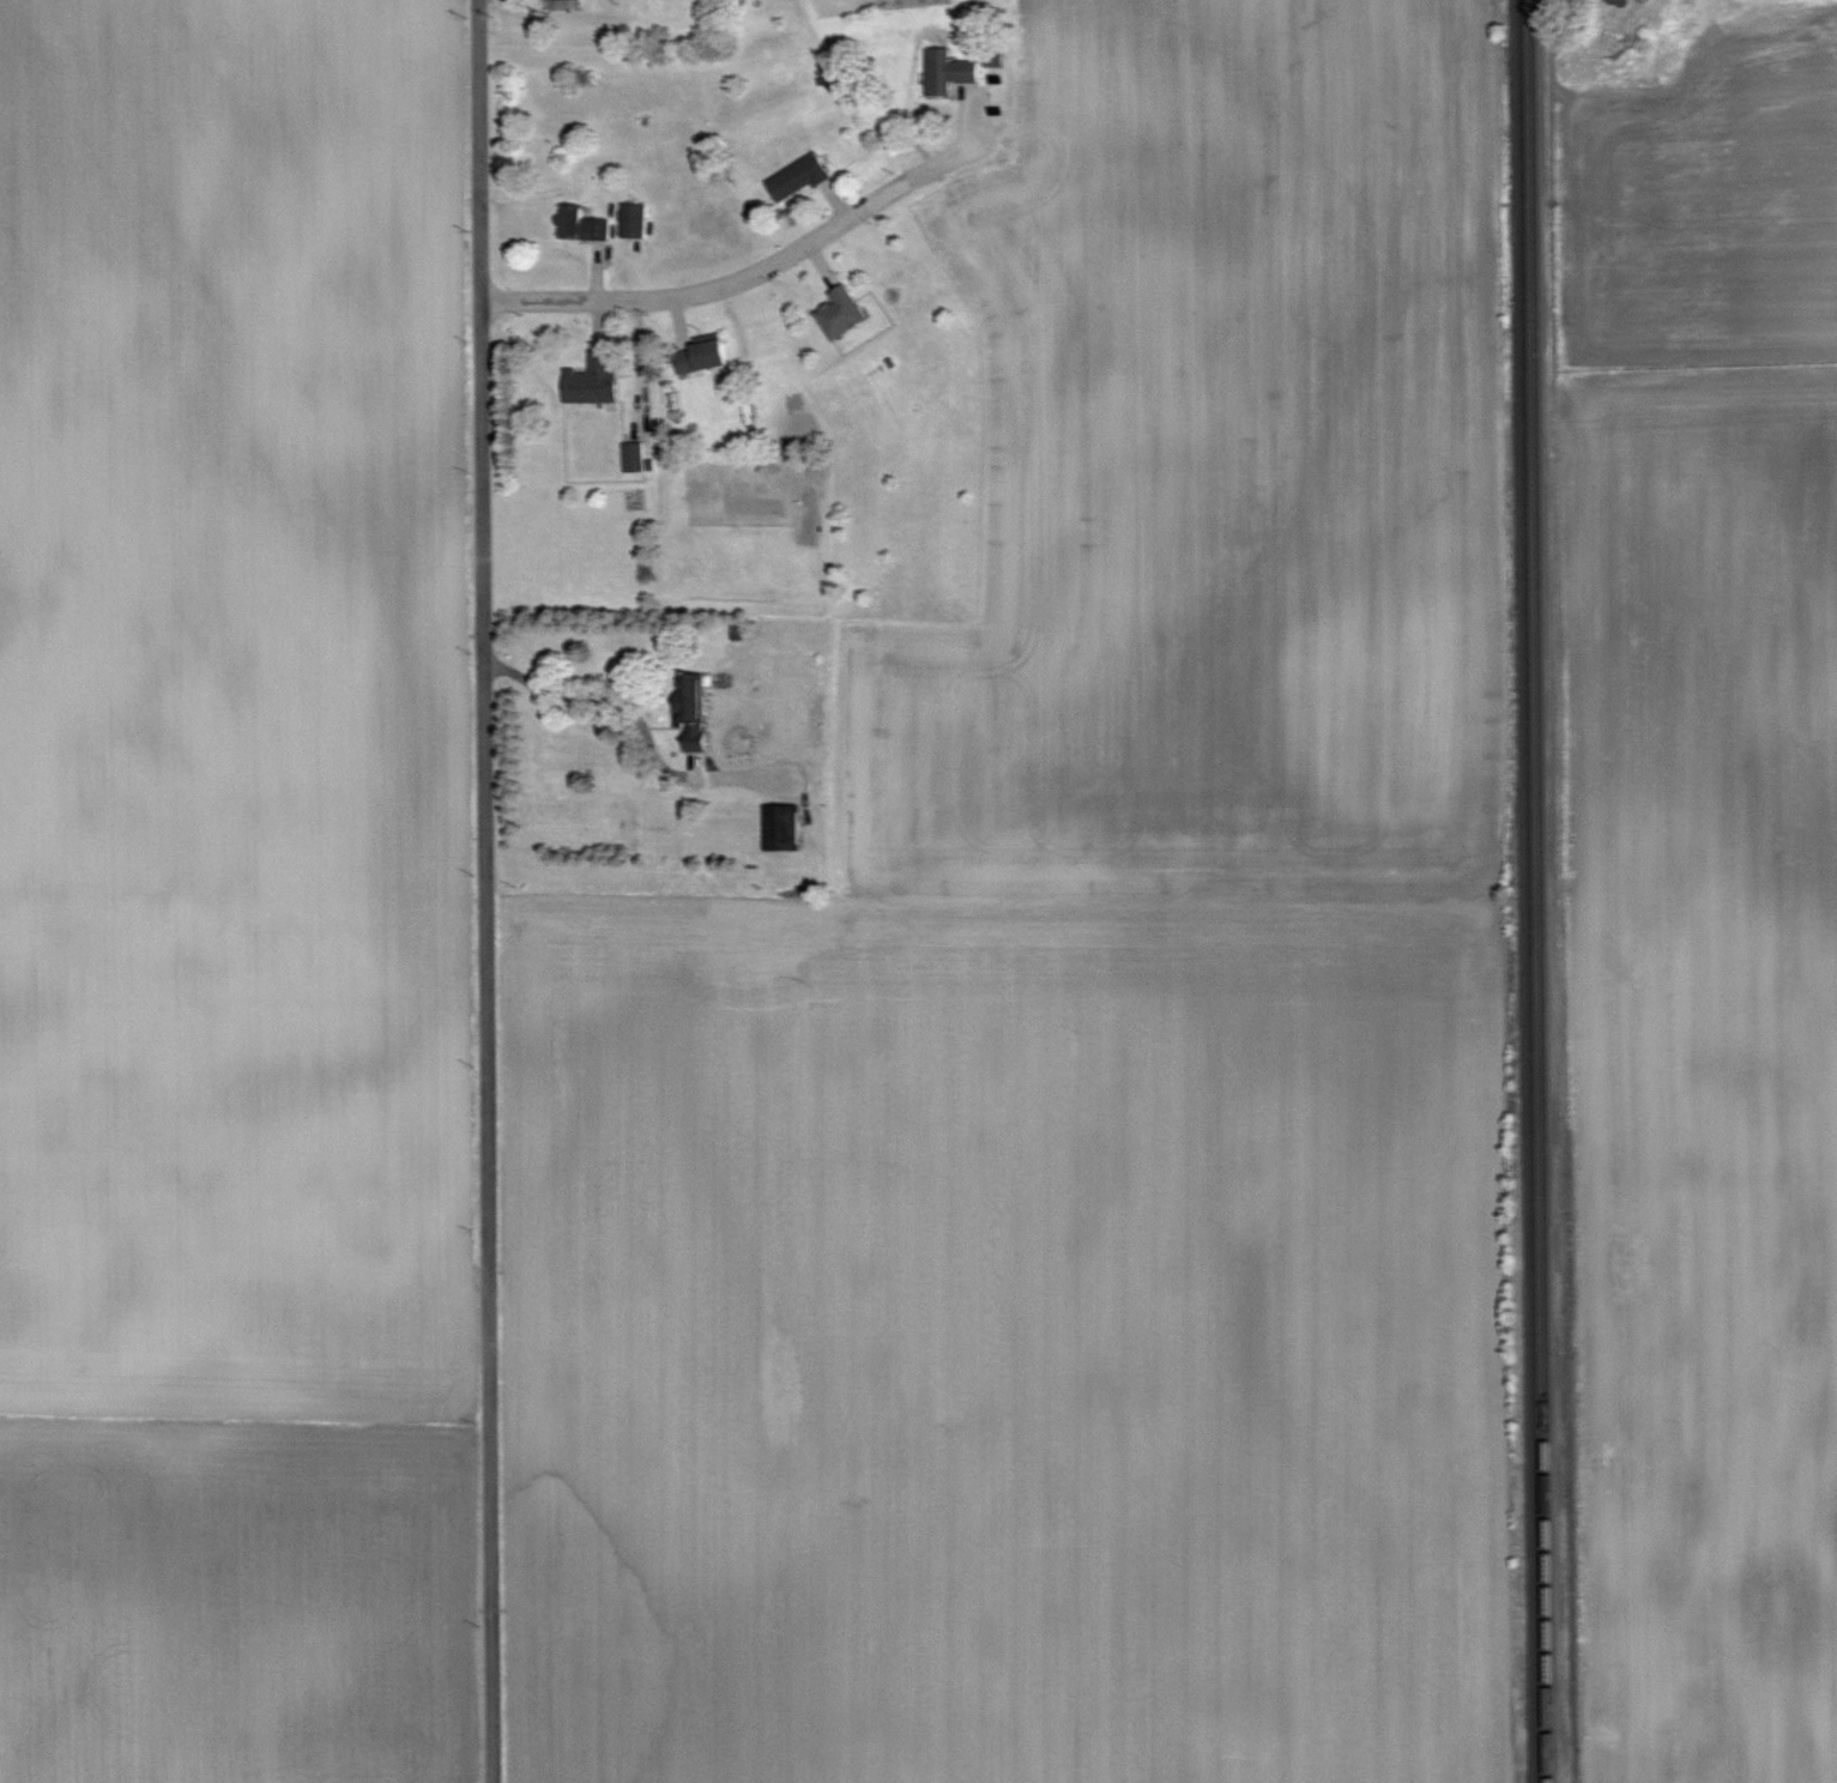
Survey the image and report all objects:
building: (554, 5)
building: (991, 59)
building: (944, 72)
building: (796, 179)
building: (633, 222)
building: (579, 225)
road: (707, 292)
building: (840, 314)
building: (699, 358)
road: (641, 365)
building: (590, 382)
building: (633, 459)
building: (690, 708)
road: (628, 711)
road: (485, 890)
railway: (1528, 890)
railway: (1539, 891)

